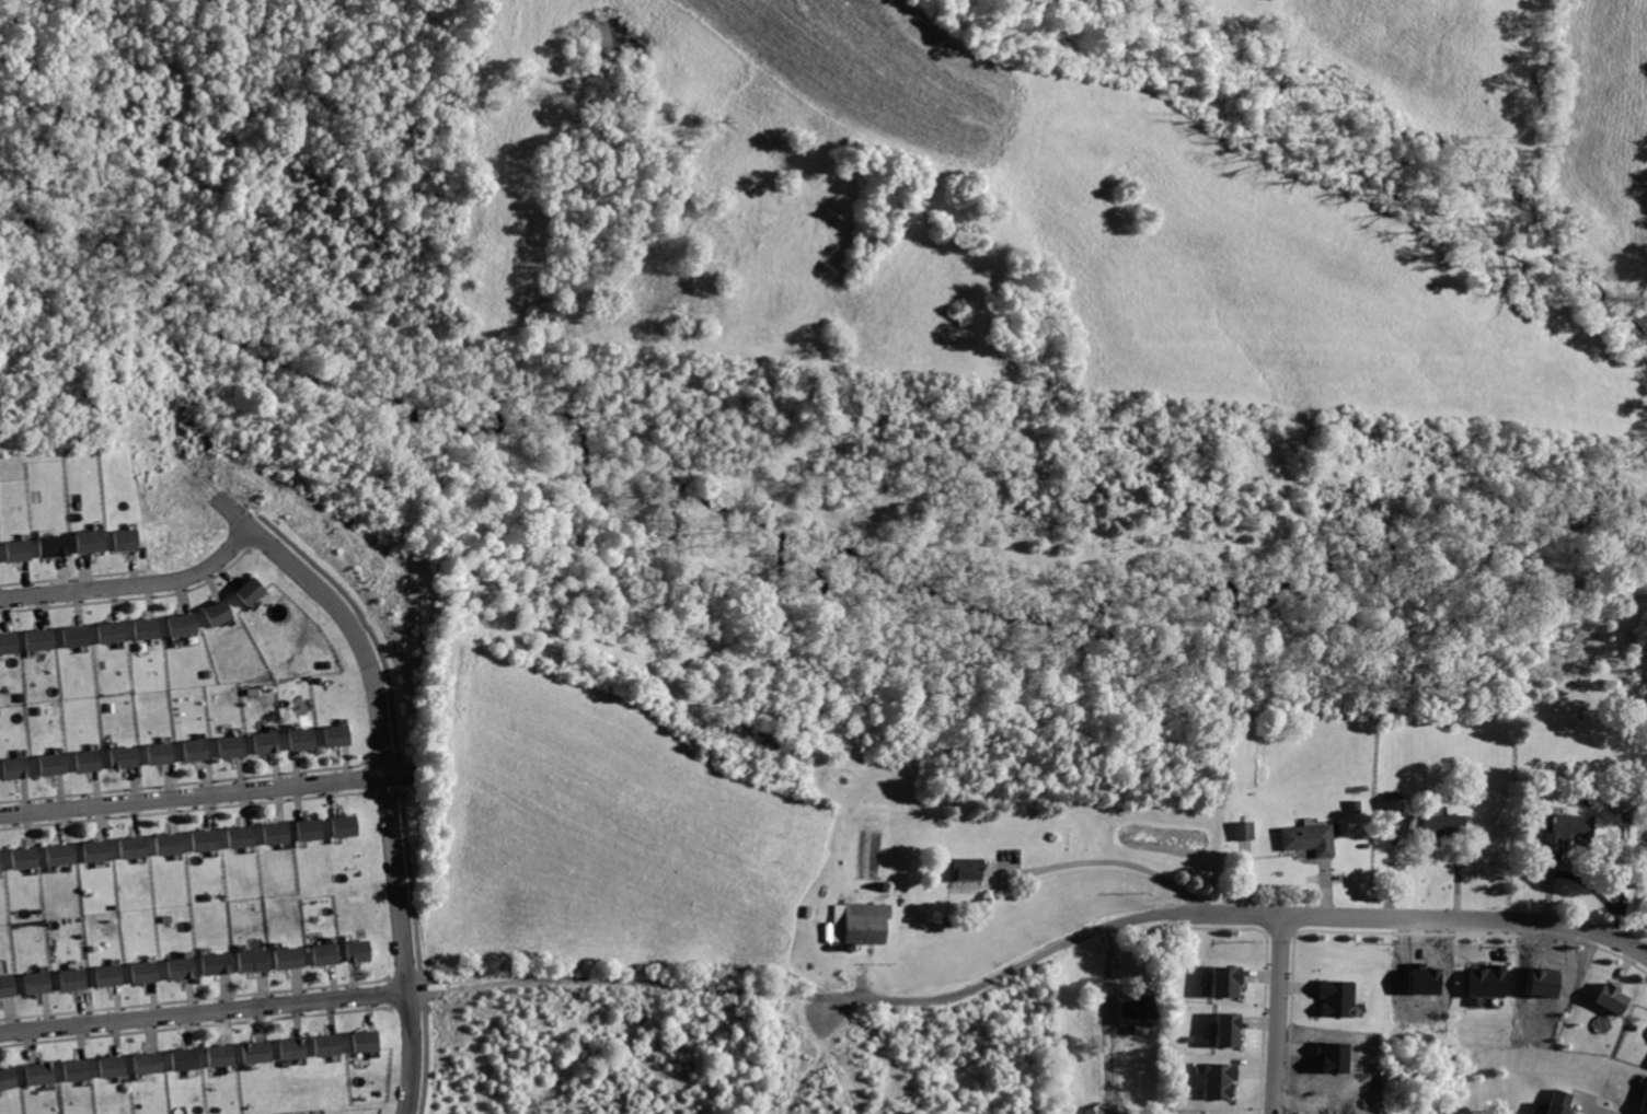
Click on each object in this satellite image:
building: (129, 537)
building: (93, 539)
building: (57, 545)
building: (22, 548)
building: (1, 552)
road: (135, 584)
building: (254, 591)
building: (223, 613)
road: (369, 623)
building: (187, 625)
building: (149, 628)
building: (115, 631)
building: (79, 637)
building: (44, 639)
building: (11, 642)
road: (383, 712)
building: (341, 734)
building: (304, 738)
building: (269, 742)
building: (234, 745)
building: (198, 749)
building: (162, 753)
building: (127, 756)
building: (91, 759)
building: (55, 764)
building: (20, 767)
road: (405, 774)
road: (194, 796)
building: (1623, 800)
building: (1351, 805)
building: (1392, 805)
building: (1443, 824)
building: (347, 825)
building: (312, 828)
building: (1241, 829)
building: (1567, 831)
building: (278, 832)
building: (242, 835)
building: (1306, 838)
building: (208, 839)
building: (171, 843)
building: (136, 846)
building: (101, 849)
building: (64, 854)
building: (27, 857)
building: (3, 860)
road: (1099, 861)
building: (964, 870)
road: (415, 882)
road: (1249, 918)
building: (869, 922)
building: (360, 950)
building: (327, 954)
building: (292, 956)
building: (256, 960)
building: (220, 963)
building: (184, 968)
building: (148, 971)
road: (595, 973)
building: (113, 975)
building: (77, 978)
building: (1223, 980)
building: (1486, 980)
building: (41, 983)
building: (10, 986)
building: (1603, 989)
building: (1334, 997)
building: (1138, 1010)
road: (206, 1013)
road: (1277, 1017)
building: (1226, 1029)
building: (1188, 1037)
building: (368, 1041)
building: (330, 1045)
building: (296, 1048)
building: (258, 1049)
road: (414, 1053)
road: (426, 1053)
building: (224, 1055)
building: (188, 1058)
building: (152, 1063)
building: (117, 1065)
building: (81, 1069)
building: (45, 1072)
building: (10, 1077)
building: (1218, 1079)
building: (1644, 1099)
building: (1558, 1102)
road: (1597, 1109)
building: (1094, 1110)

